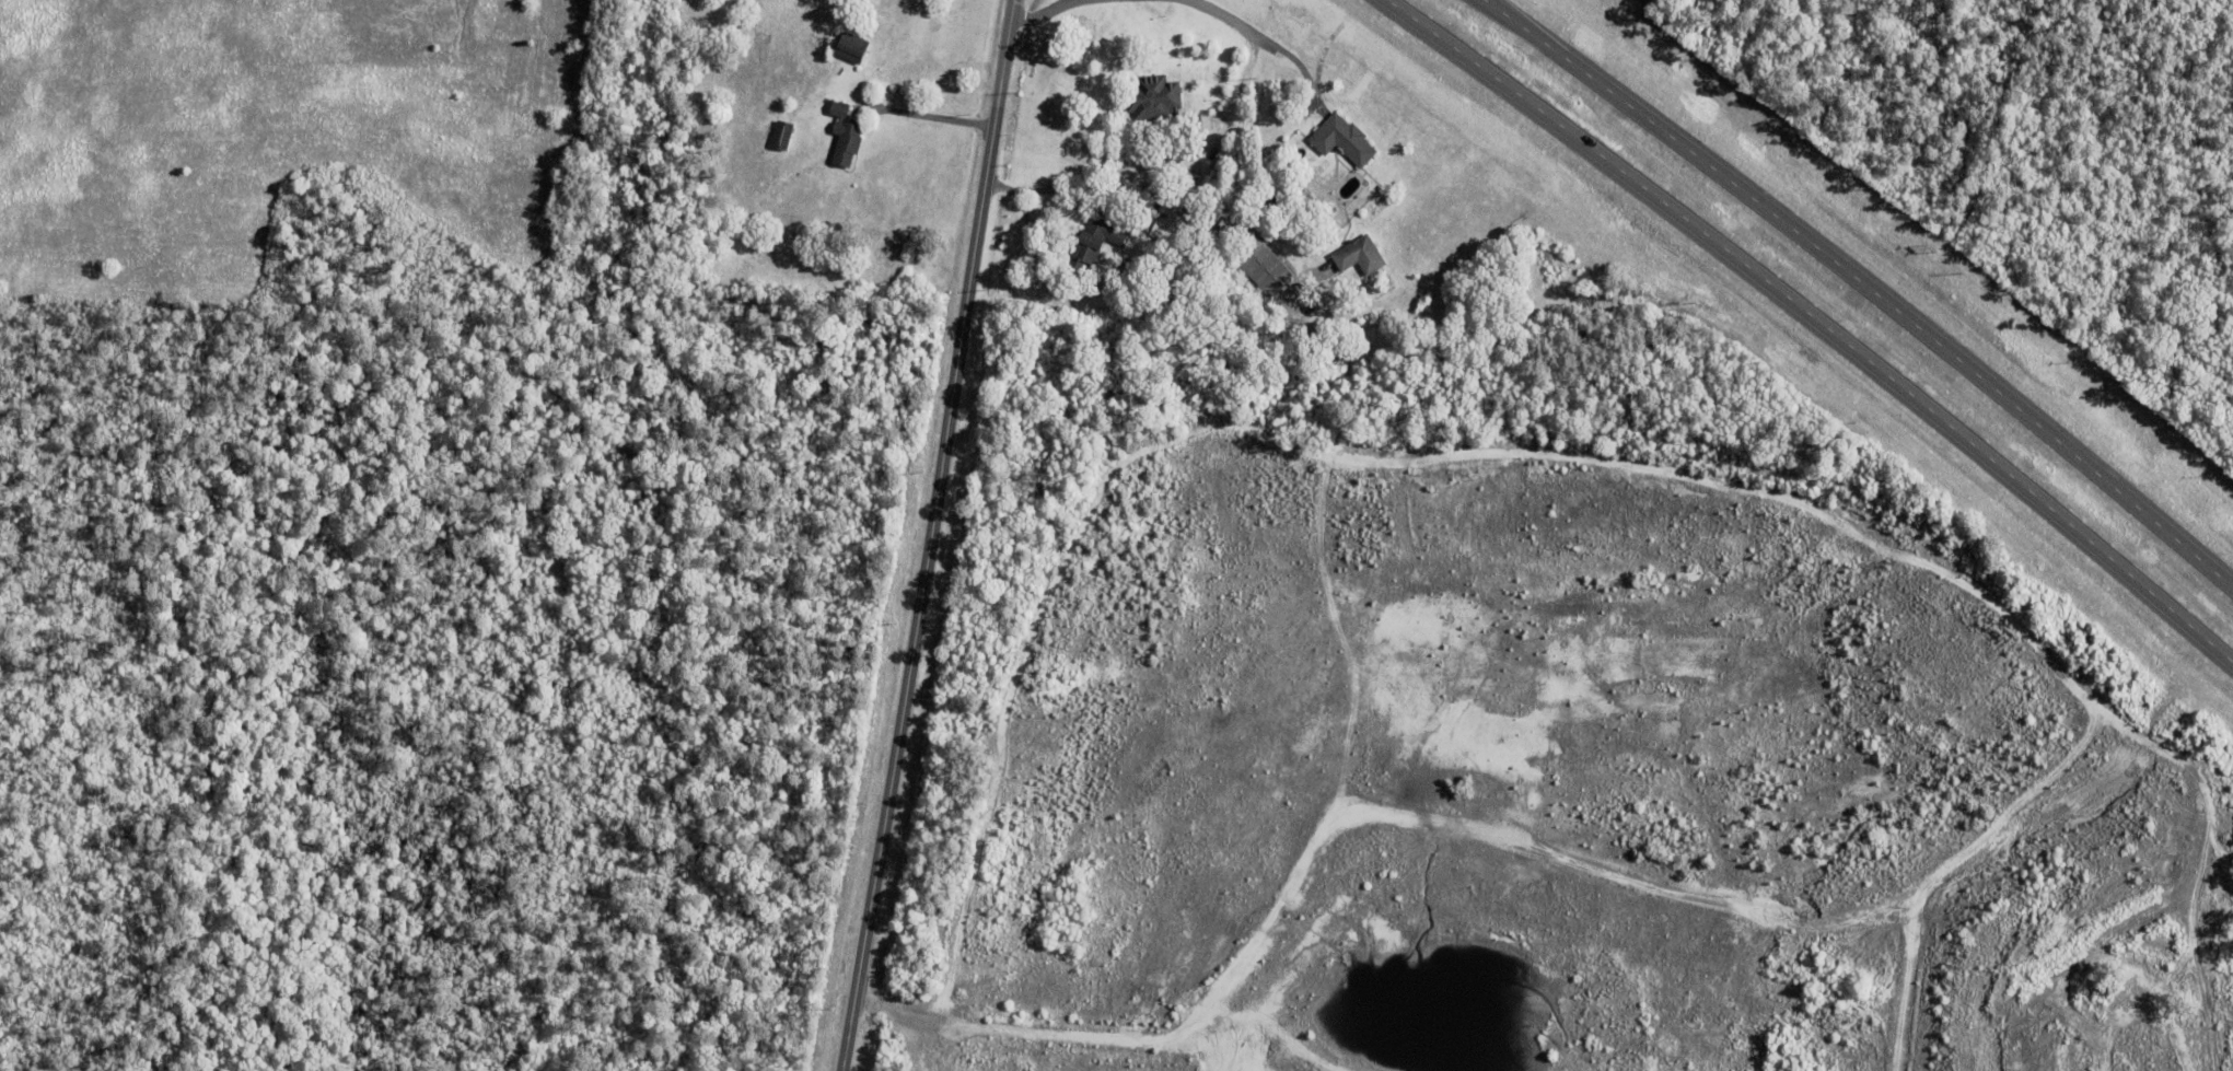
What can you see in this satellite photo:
road: (1046, 14)
building: (851, 45)
road: (1251, 62)
building: (1152, 95)
road: (931, 118)
building: (782, 133)
building: (845, 133)
building: (1342, 138)
building: (1163, 185)
building: (1092, 244)
building: (1452, 248)
building: (1358, 257)
building: (1125, 265)
building: (1263, 267)
road: (1862, 286)
road: (1815, 322)
road: (931, 536)

